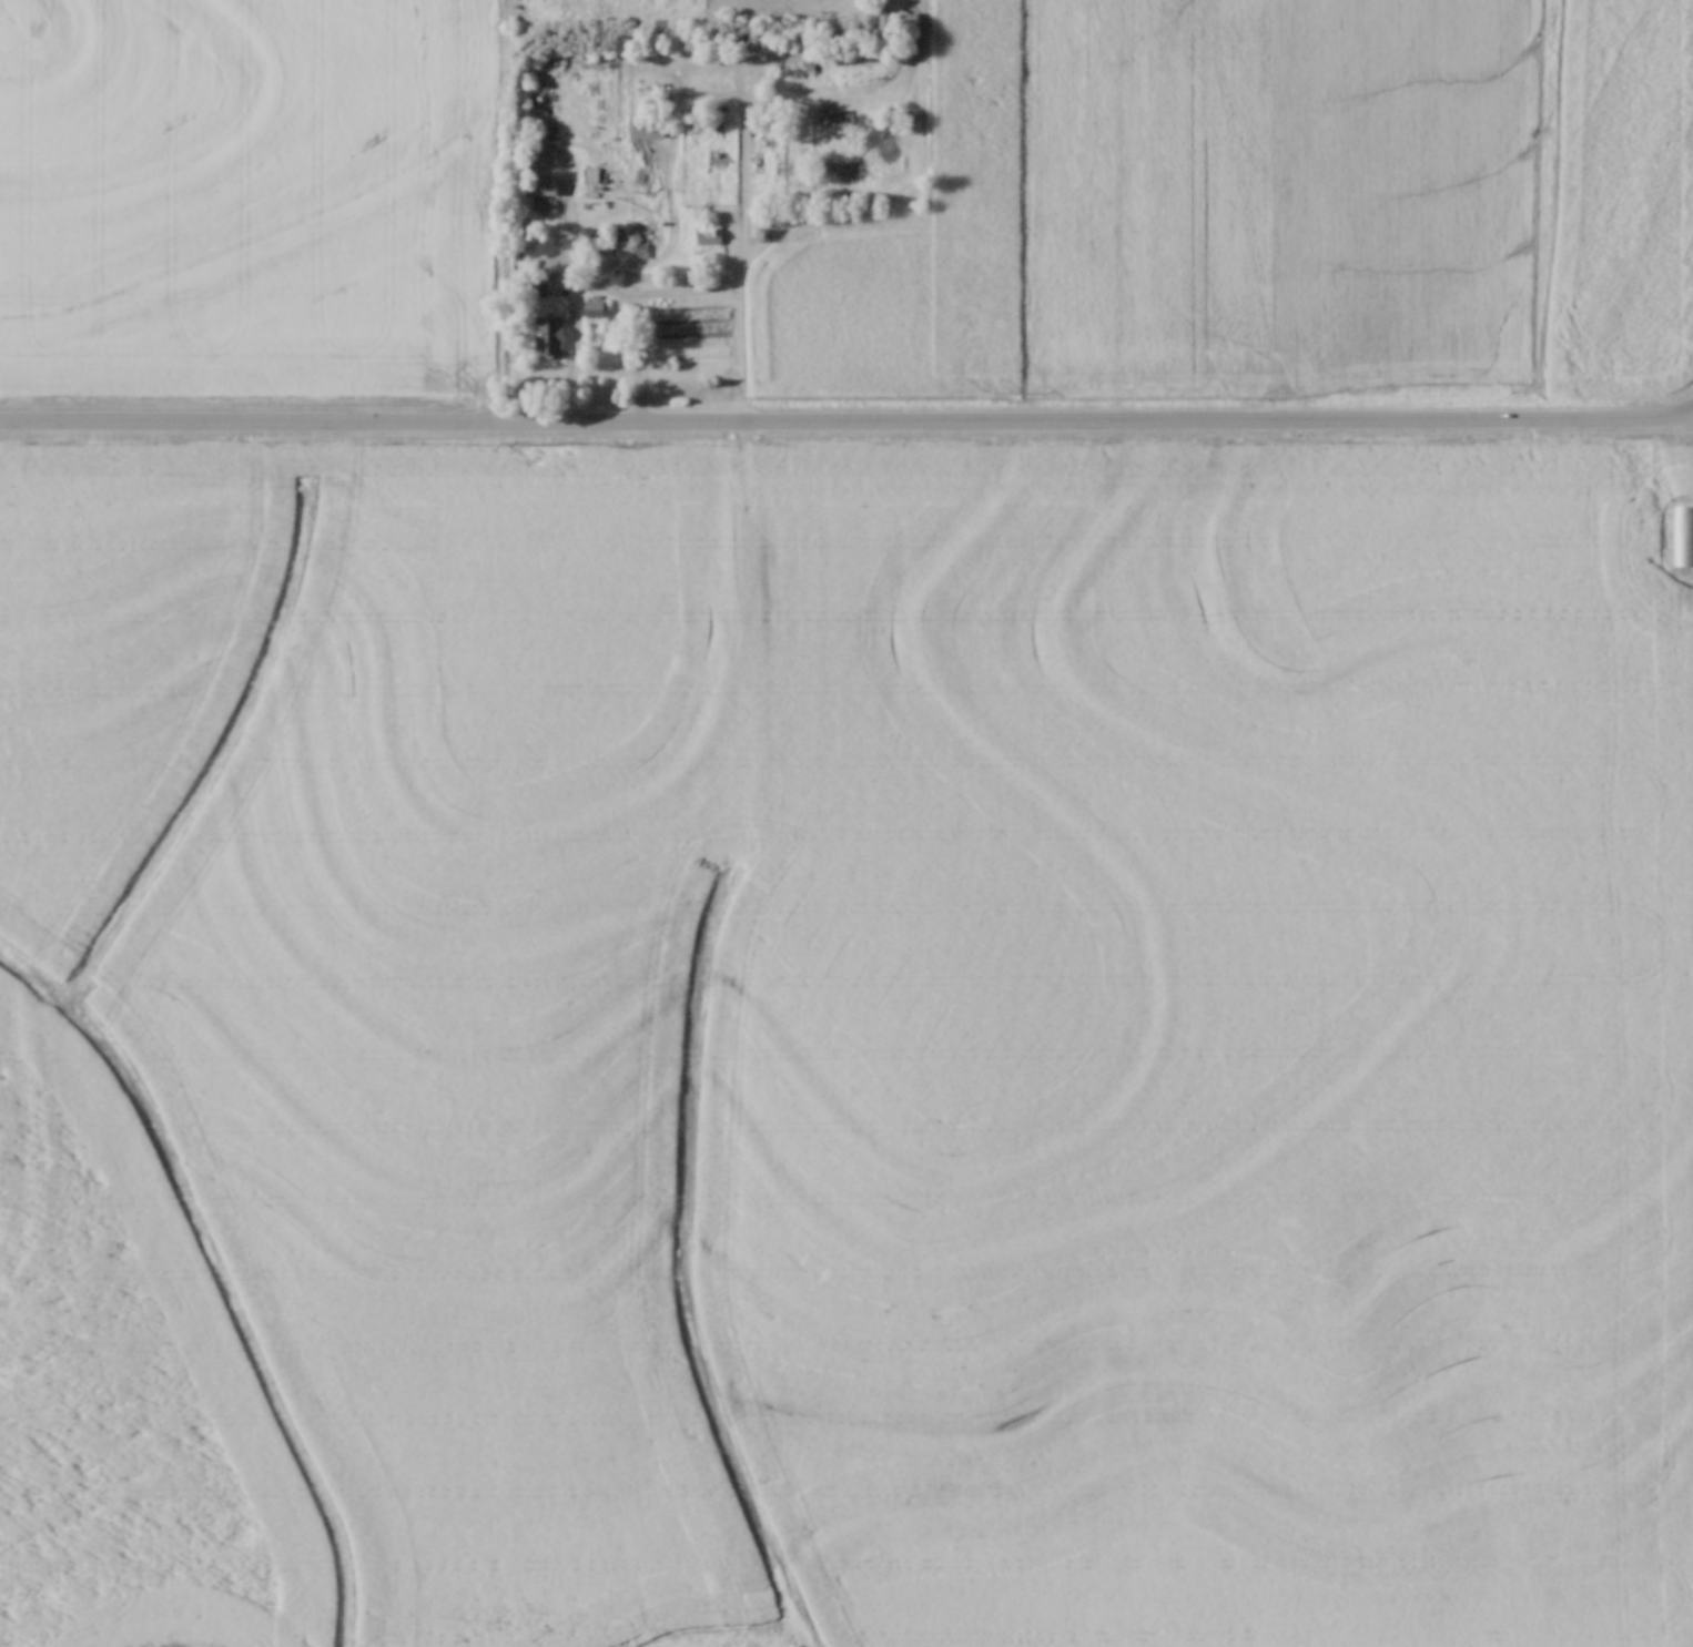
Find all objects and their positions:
building: (649, 128)
building: (641, 225)
building: (764, 233)
building: (708, 234)
road: (601, 282)
building: (596, 306)
building: (549, 334)
road: (1672, 411)
road: (824, 418)
building: (1681, 533)

